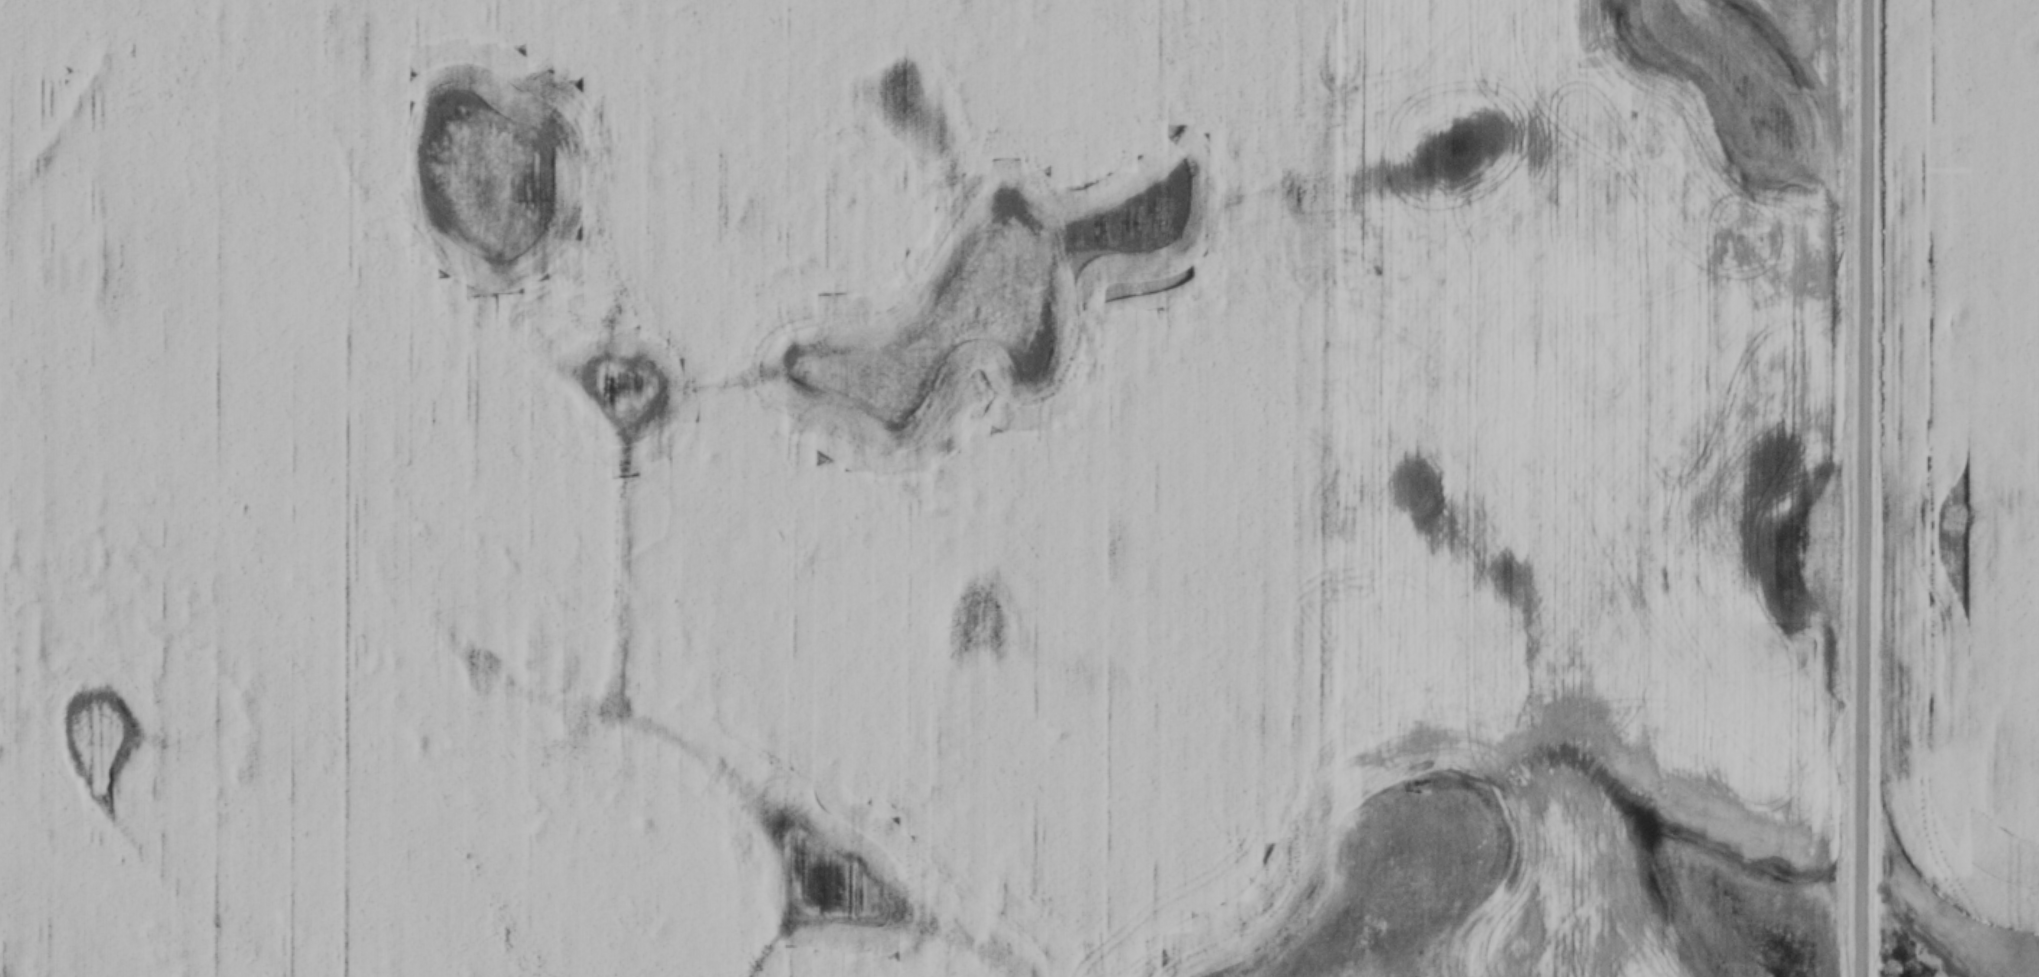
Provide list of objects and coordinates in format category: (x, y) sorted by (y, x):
road: (1863, 488)

